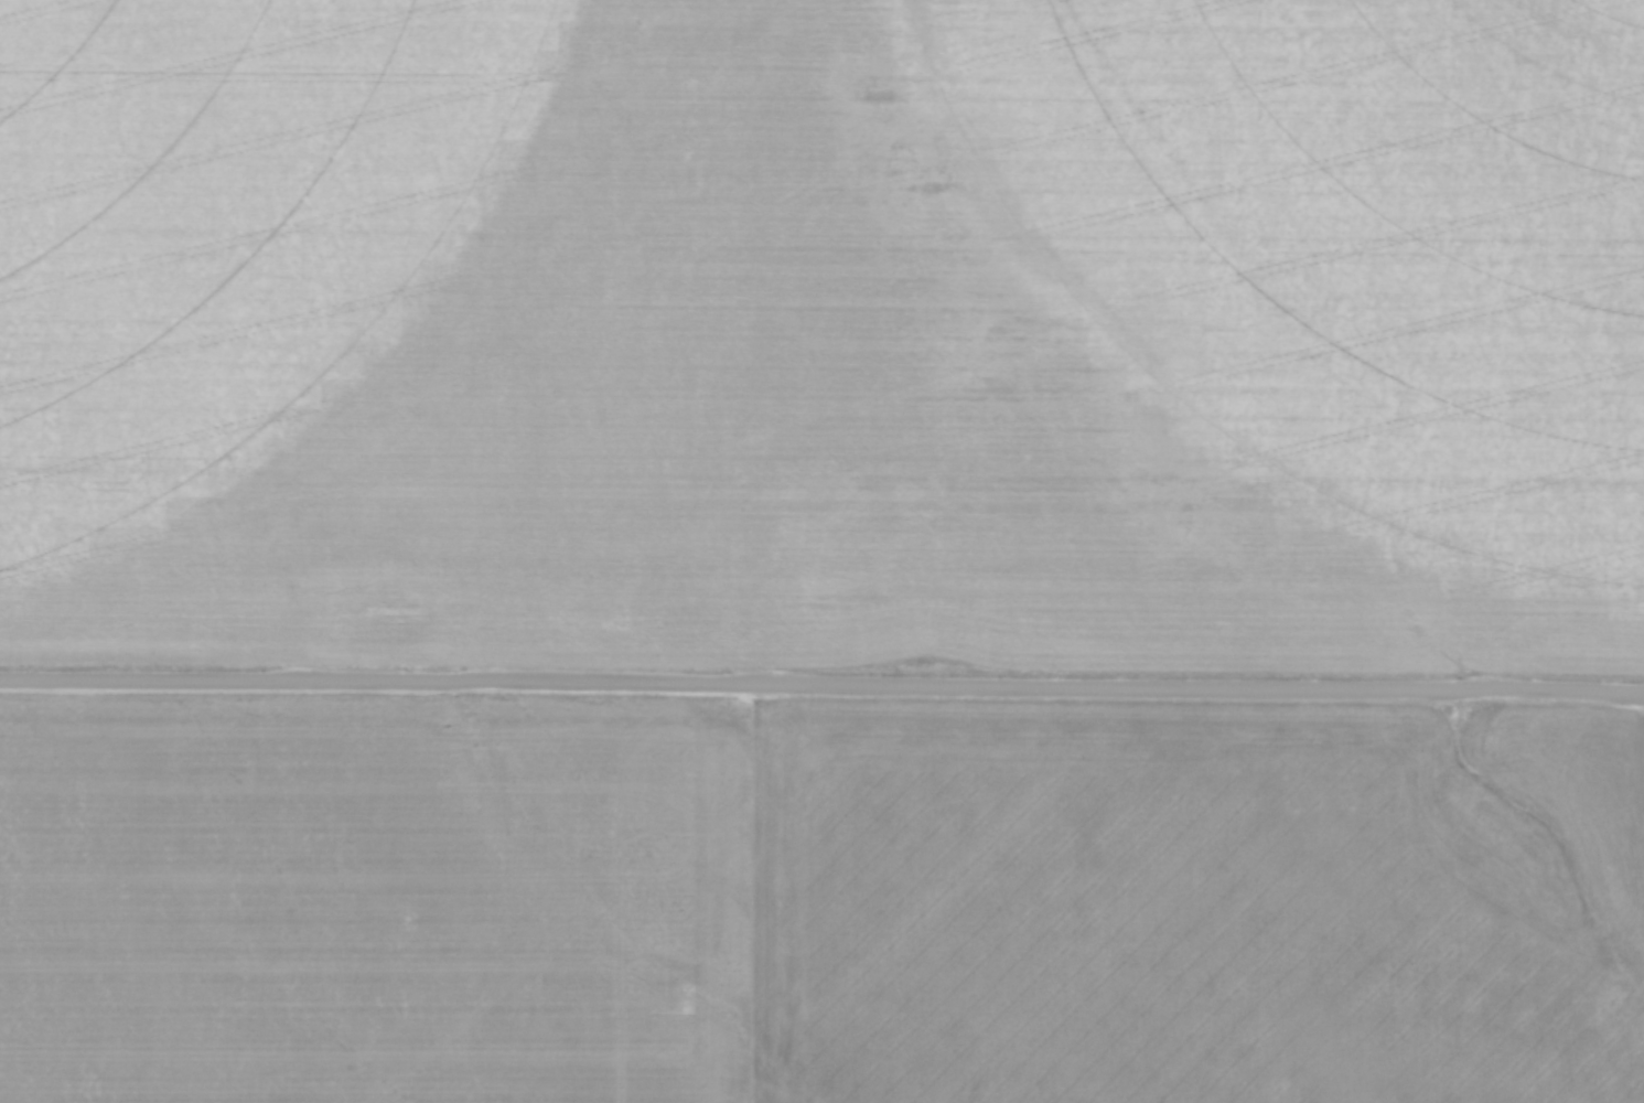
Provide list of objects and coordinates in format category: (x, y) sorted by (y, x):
crop: (824, 333)
road: (821, 686)
crop: (815, 903)

